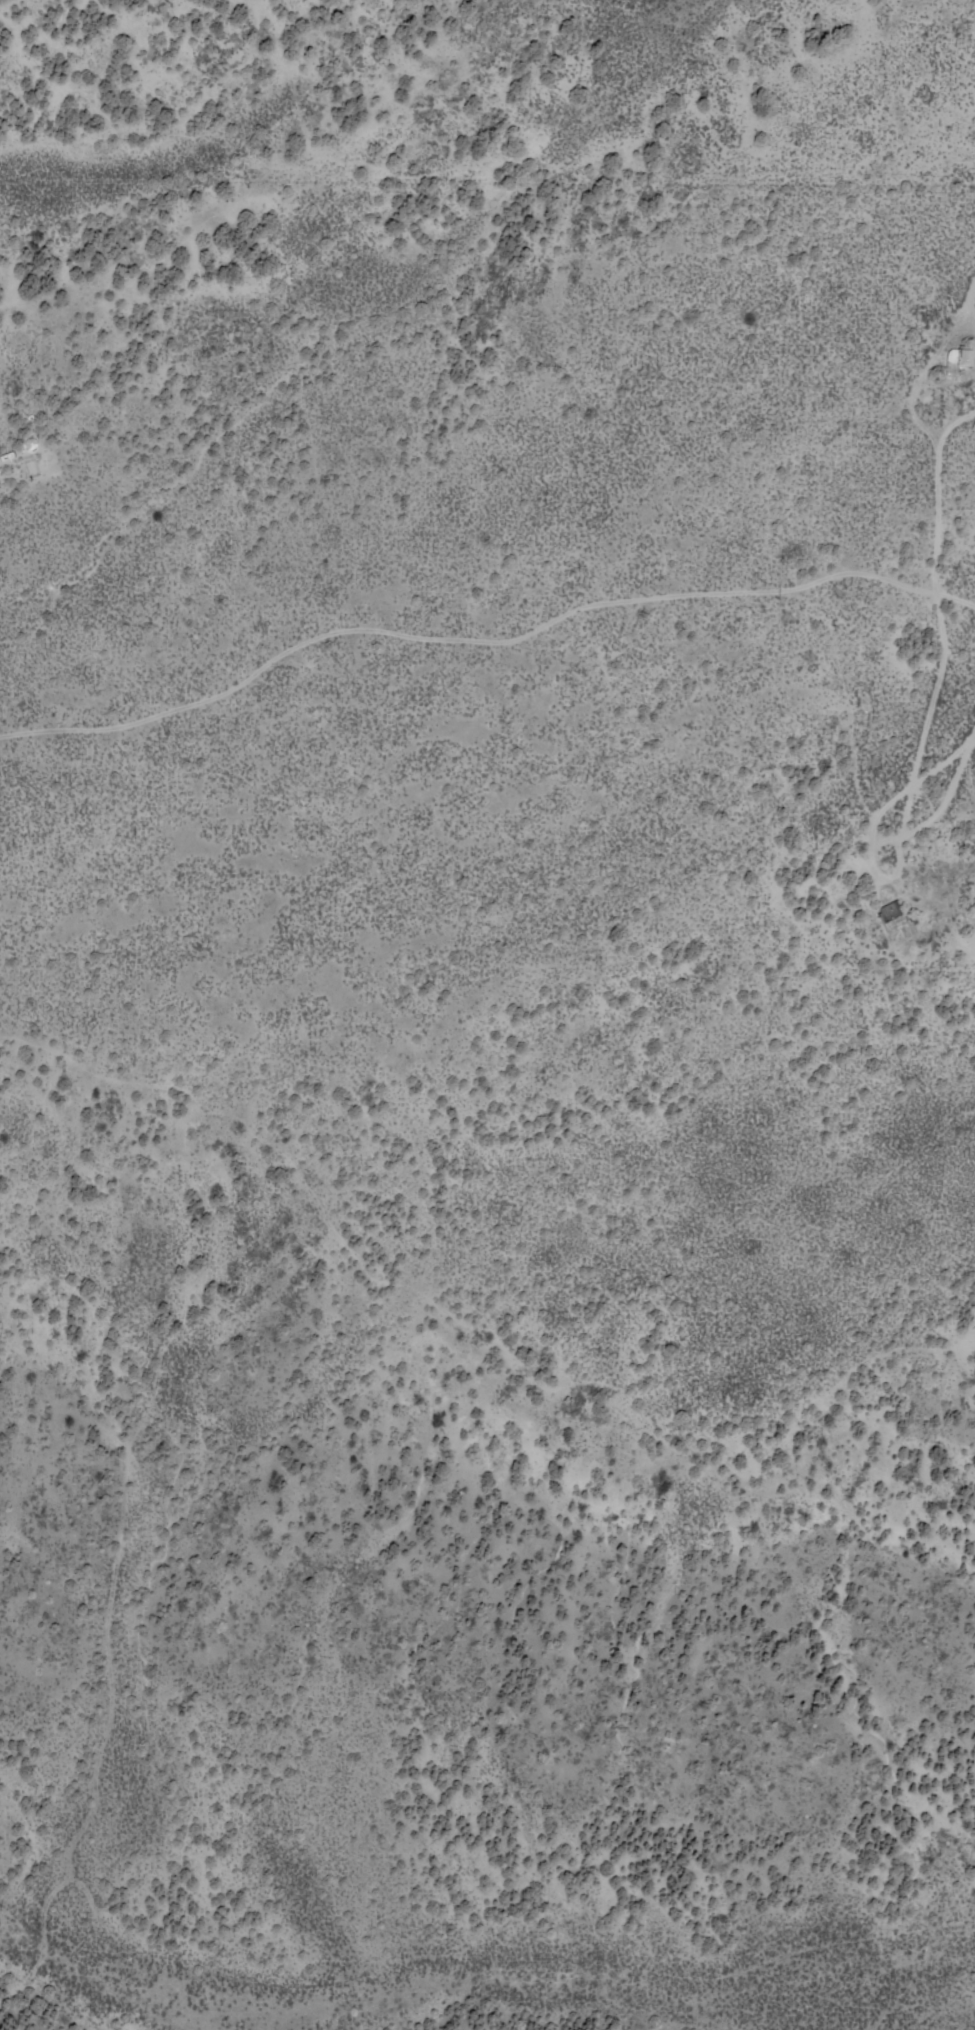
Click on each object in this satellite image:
building: (957, 359)
building: (895, 919)

